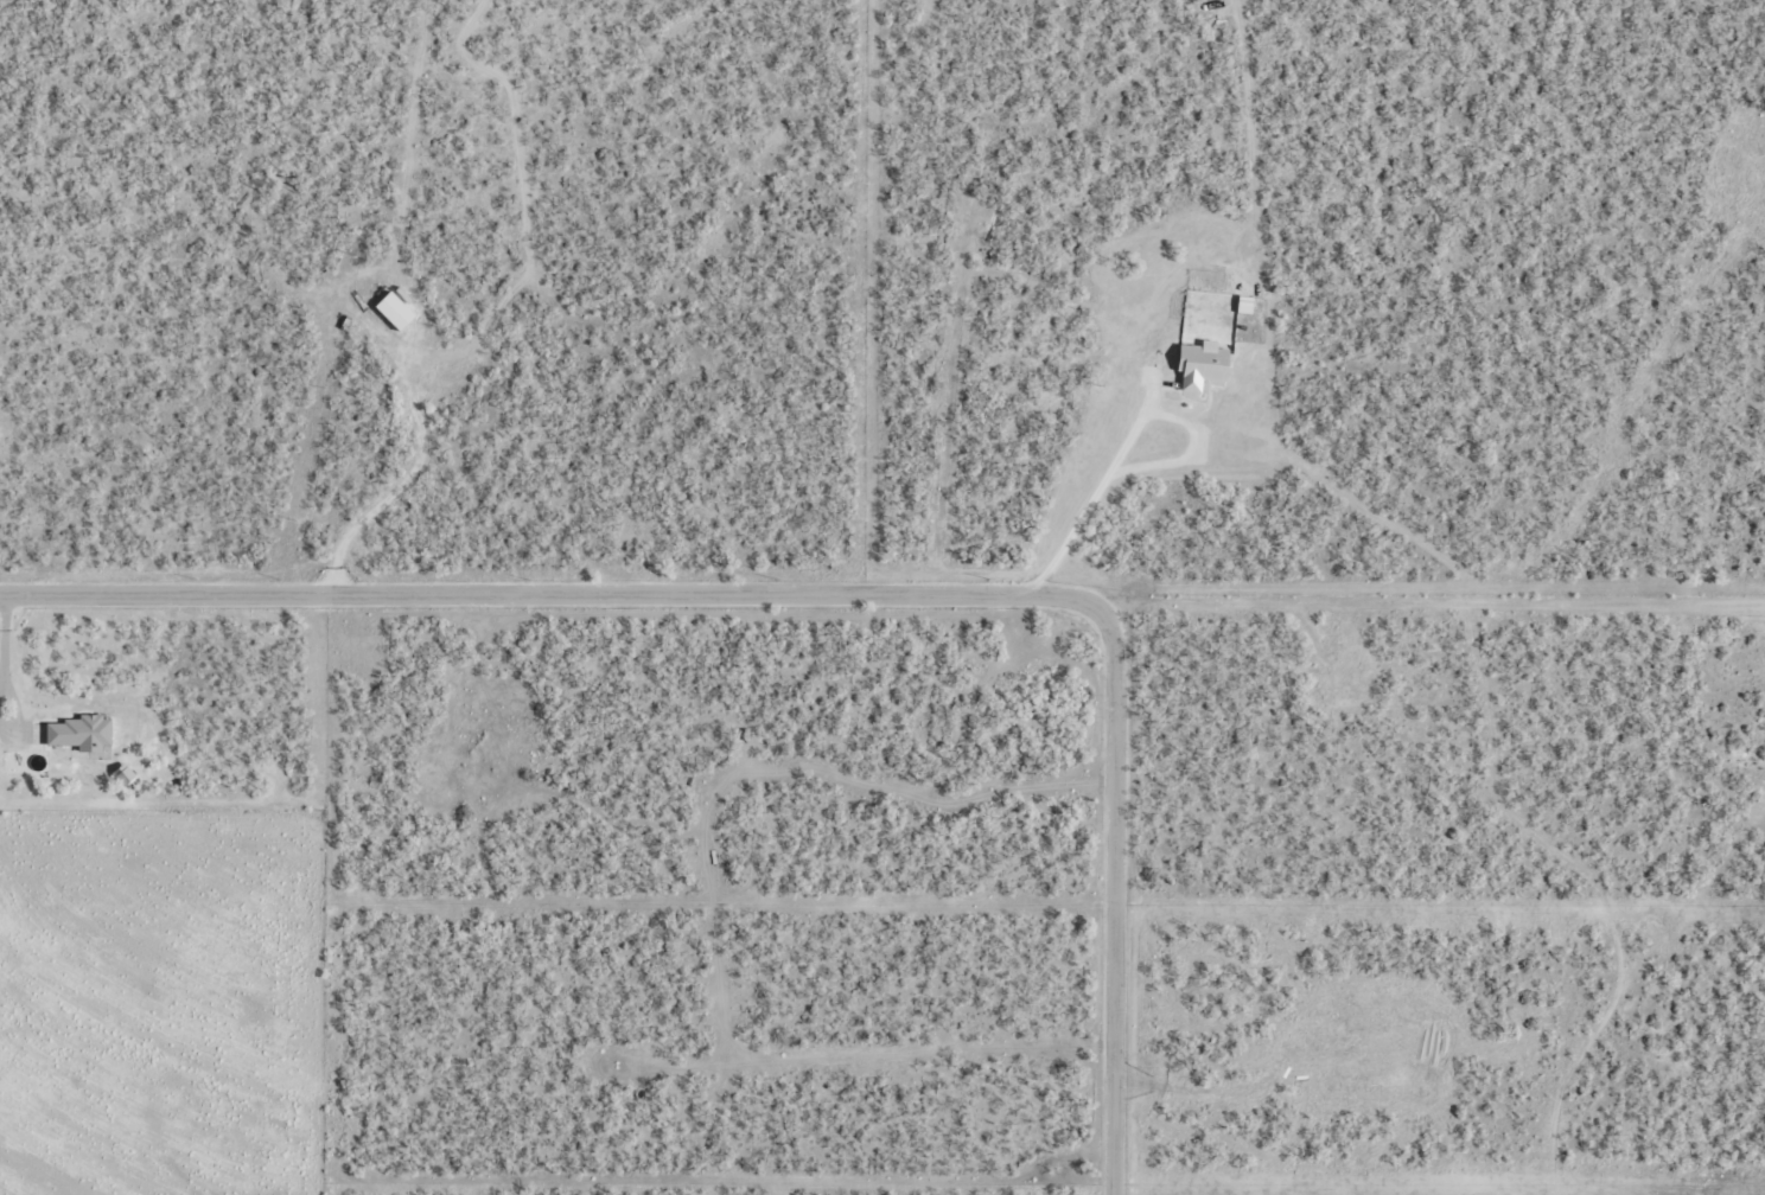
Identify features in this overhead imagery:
building: (1202, 365)
road: (839, 596)
building: (79, 734)
building: (123, 774)
road: (1671, 973)

